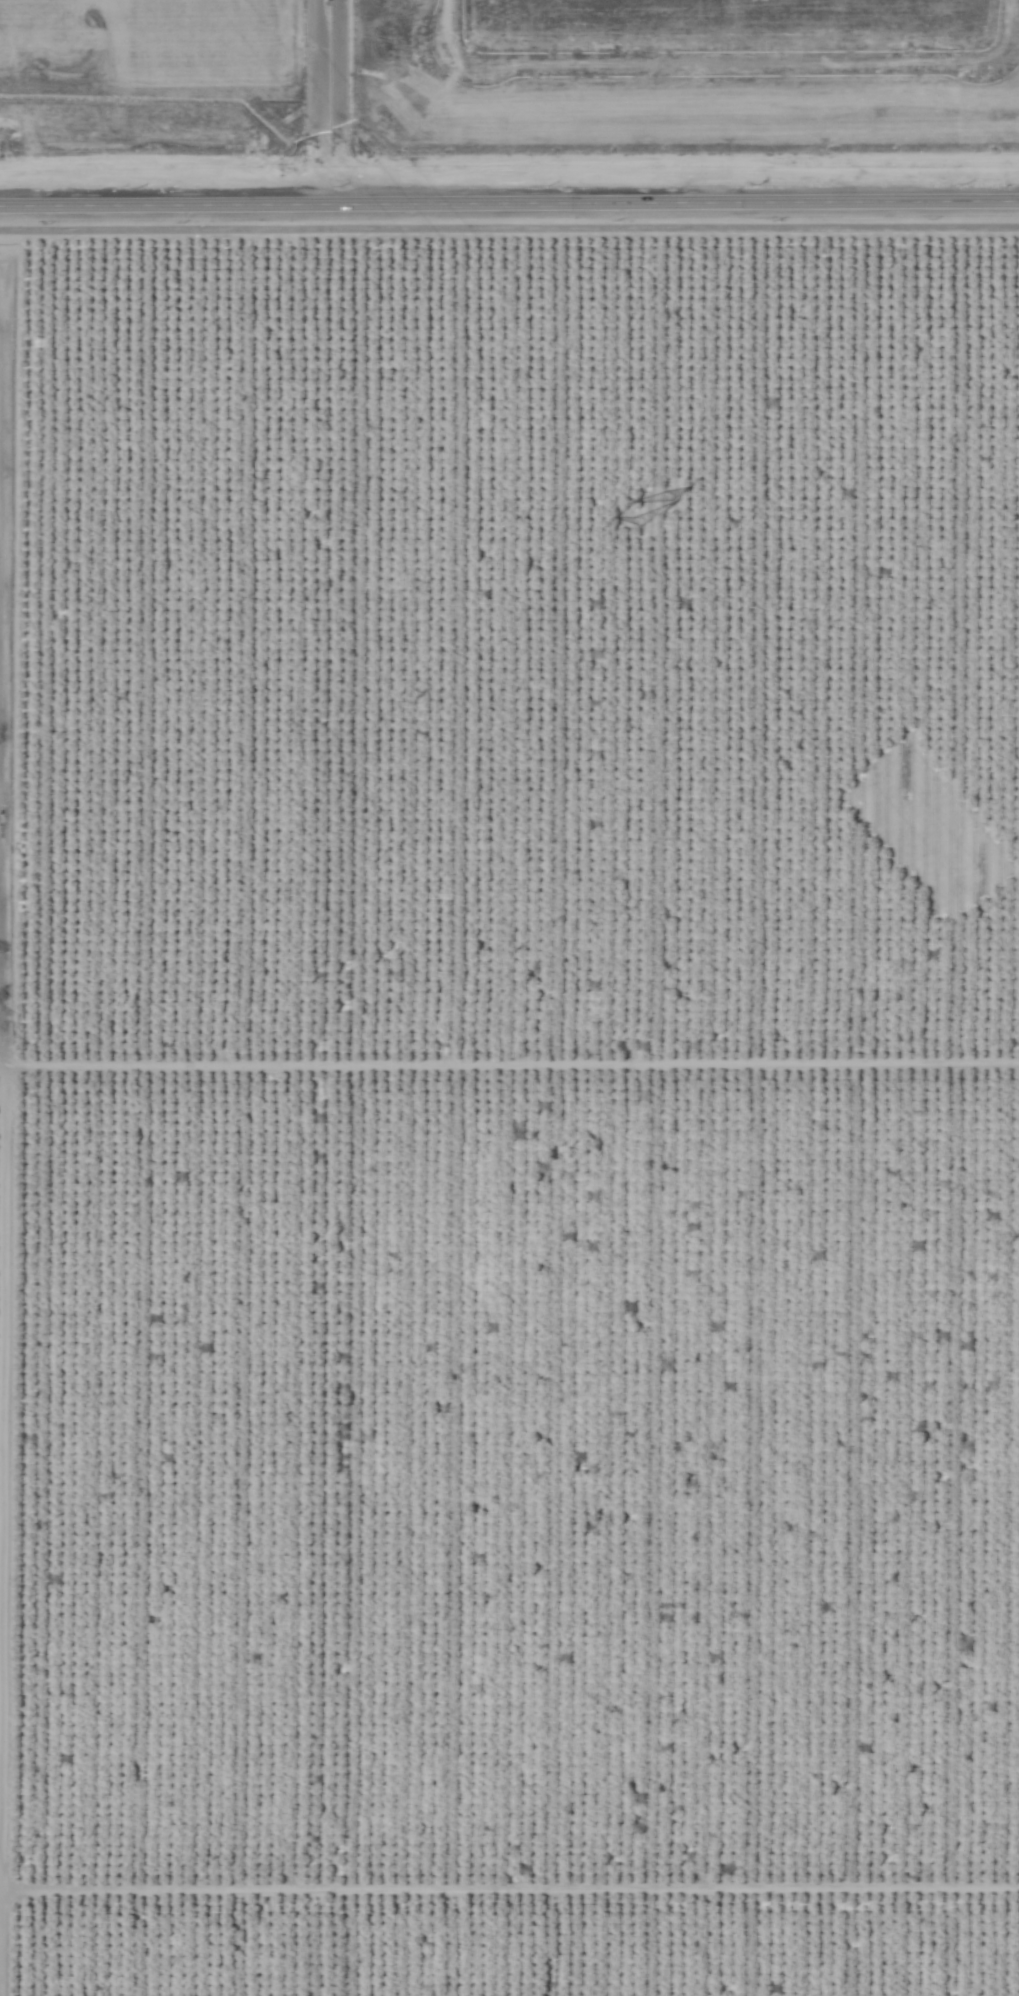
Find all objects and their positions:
road: (509, 204)
power tower: (651, 504)

